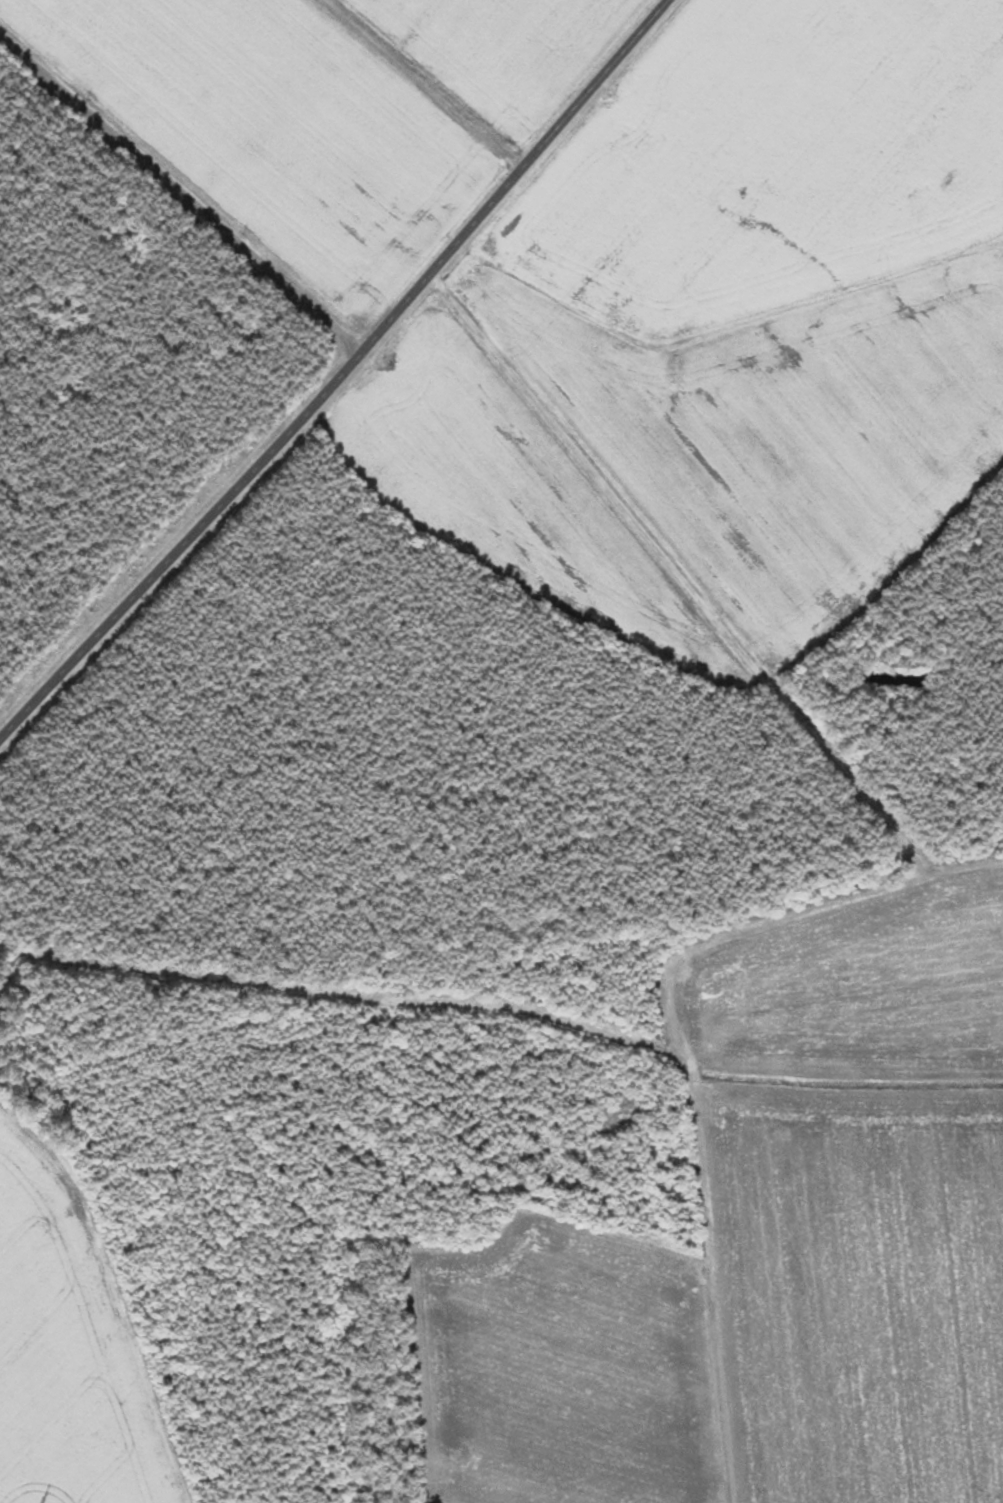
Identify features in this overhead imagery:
road: (188, 172)
road: (338, 377)

